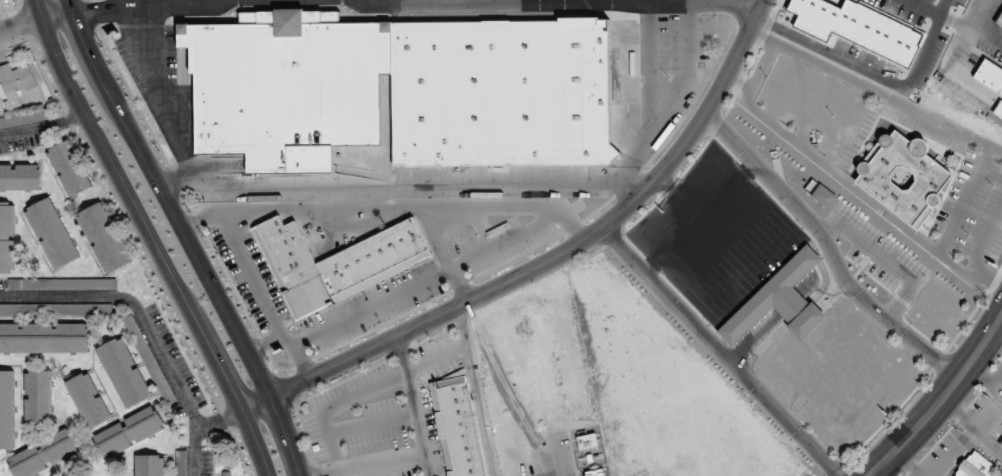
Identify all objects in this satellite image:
road: (412, 2)
road: (418, 3)
road: (57, 14)
building: (999, 23)
road: (21, 24)
gas station: (986, 71)
building: (990, 77)
road: (740, 81)
building: (287, 83)
building: (16, 85)
building: (501, 88)
road: (877, 90)
building: (998, 110)
building: (24, 119)
road: (43, 124)
road: (713, 151)
building: (69, 169)
building: (20, 178)
building: (904, 178)
road: (845, 180)
building: (823, 196)
road: (650, 223)
building: (52, 234)
road: (187, 237)
building: (7, 238)
building: (104, 238)
road: (150, 238)
road: (989, 241)
road: (831, 251)
road: (552, 262)
building: (336, 263)
building: (61, 285)
building: (779, 302)
building: (9, 310)
building: (77, 310)
road: (147, 323)
building: (44, 339)
building: (140, 344)
road: (719, 353)
building: (124, 373)
road: (385, 381)
building: (38, 397)
building: (88, 401)
road: (941, 401)
building: (7, 410)
road: (482, 410)
building: (459, 427)
building: (129, 433)
building: (587, 442)
building: (1001, 445)
road: (196, 450)
road: (422, 453)
building: (44, 455)
road: (908, 462)
building: (182, 463)
road: (427, 464)
building: (150, 465)
building: (974, 466)
building: (596, 473)

